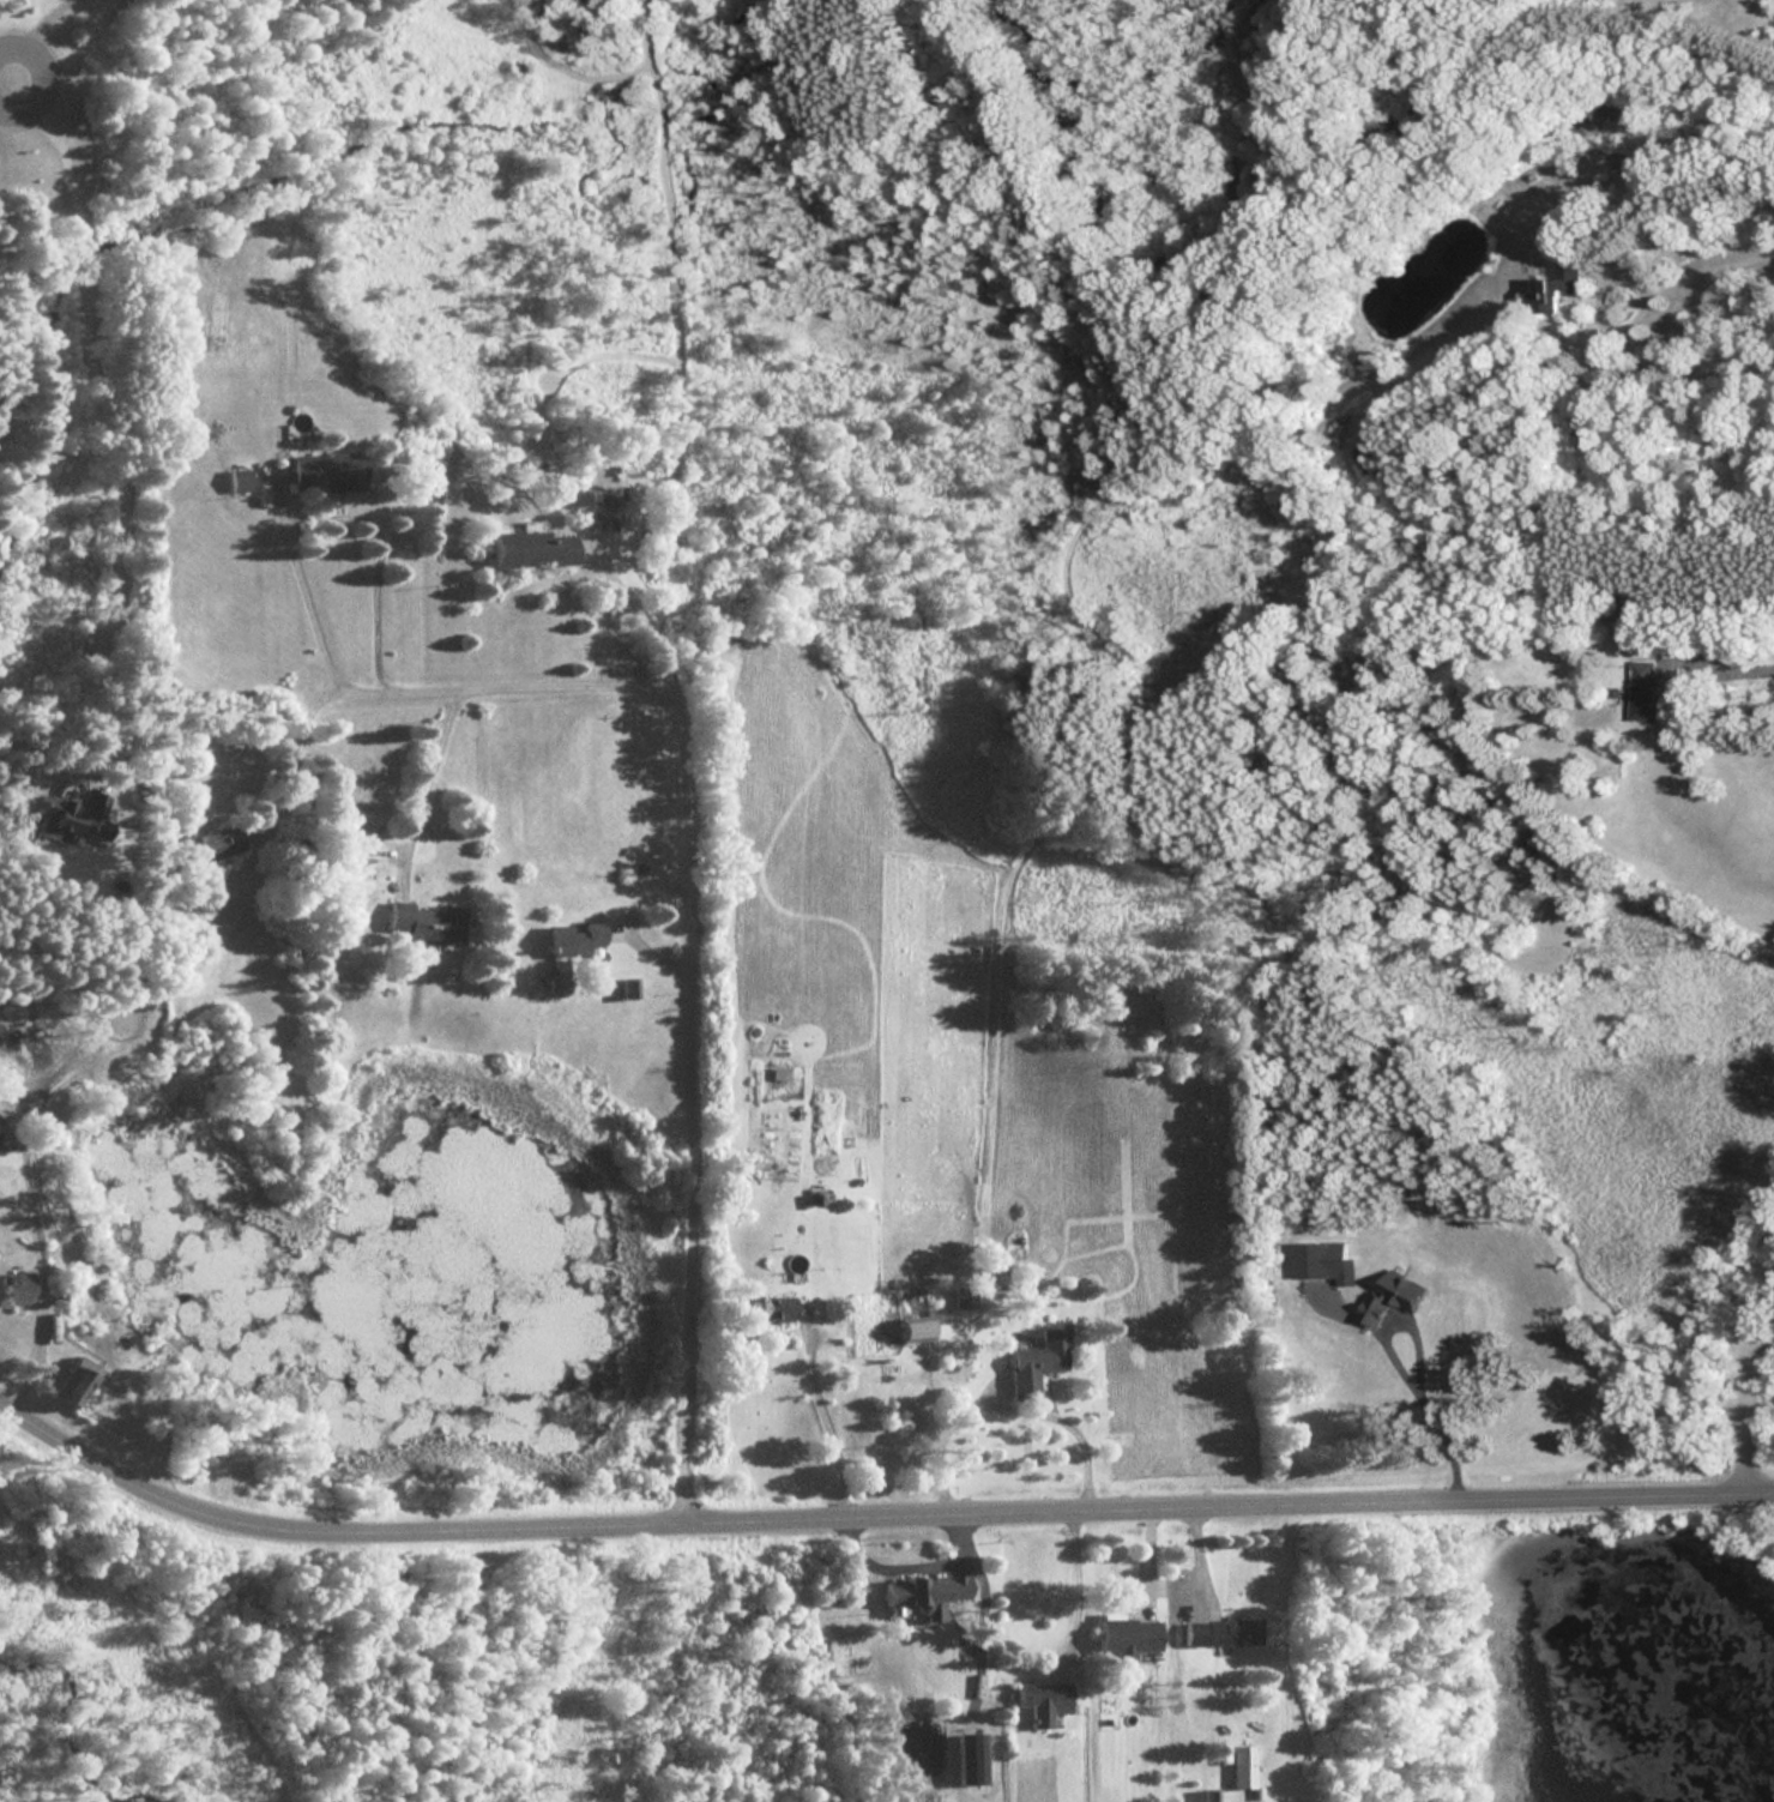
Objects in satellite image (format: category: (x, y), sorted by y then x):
road: (34, 35)
road: (6, 77)
road: (6, 80)
road: (1690, 278)
building: (1552, 287)
road: (104, 428)
building: (322, 471)
road: (319, 516)
building: (527, 549)
building: (1631, 607)
road: (634, 615)
road: (1733, 662)
building: (1641, 692)
road: (288, 754)
road: (422, 784)
building: (210, 844)
building: (422, 923)
road: (699, 933)
building: (572, 939)
building: (626, 989)
road: (42, 1279)
building: (12, 1289)
building: (964, 1298)
building: (1389, 1302)
building: (773, 1308)
building: (911, 1330)
building: (1036, 1363)
road: (1388, 1366)
road: (1750, 1390)
road: (1038, 1414)
road: (820, 1422)
road: (935, 1435)
road: (873, 1509)
road: (1069, 1583)
building: (921, 1593)
building: (1219, 1632)
building: (1126, 1639)
park: (1545, 1655)
park: (398, 1657)
building: (1042, 1700)
building: (969, 1758)
building: (1239, 1767)

